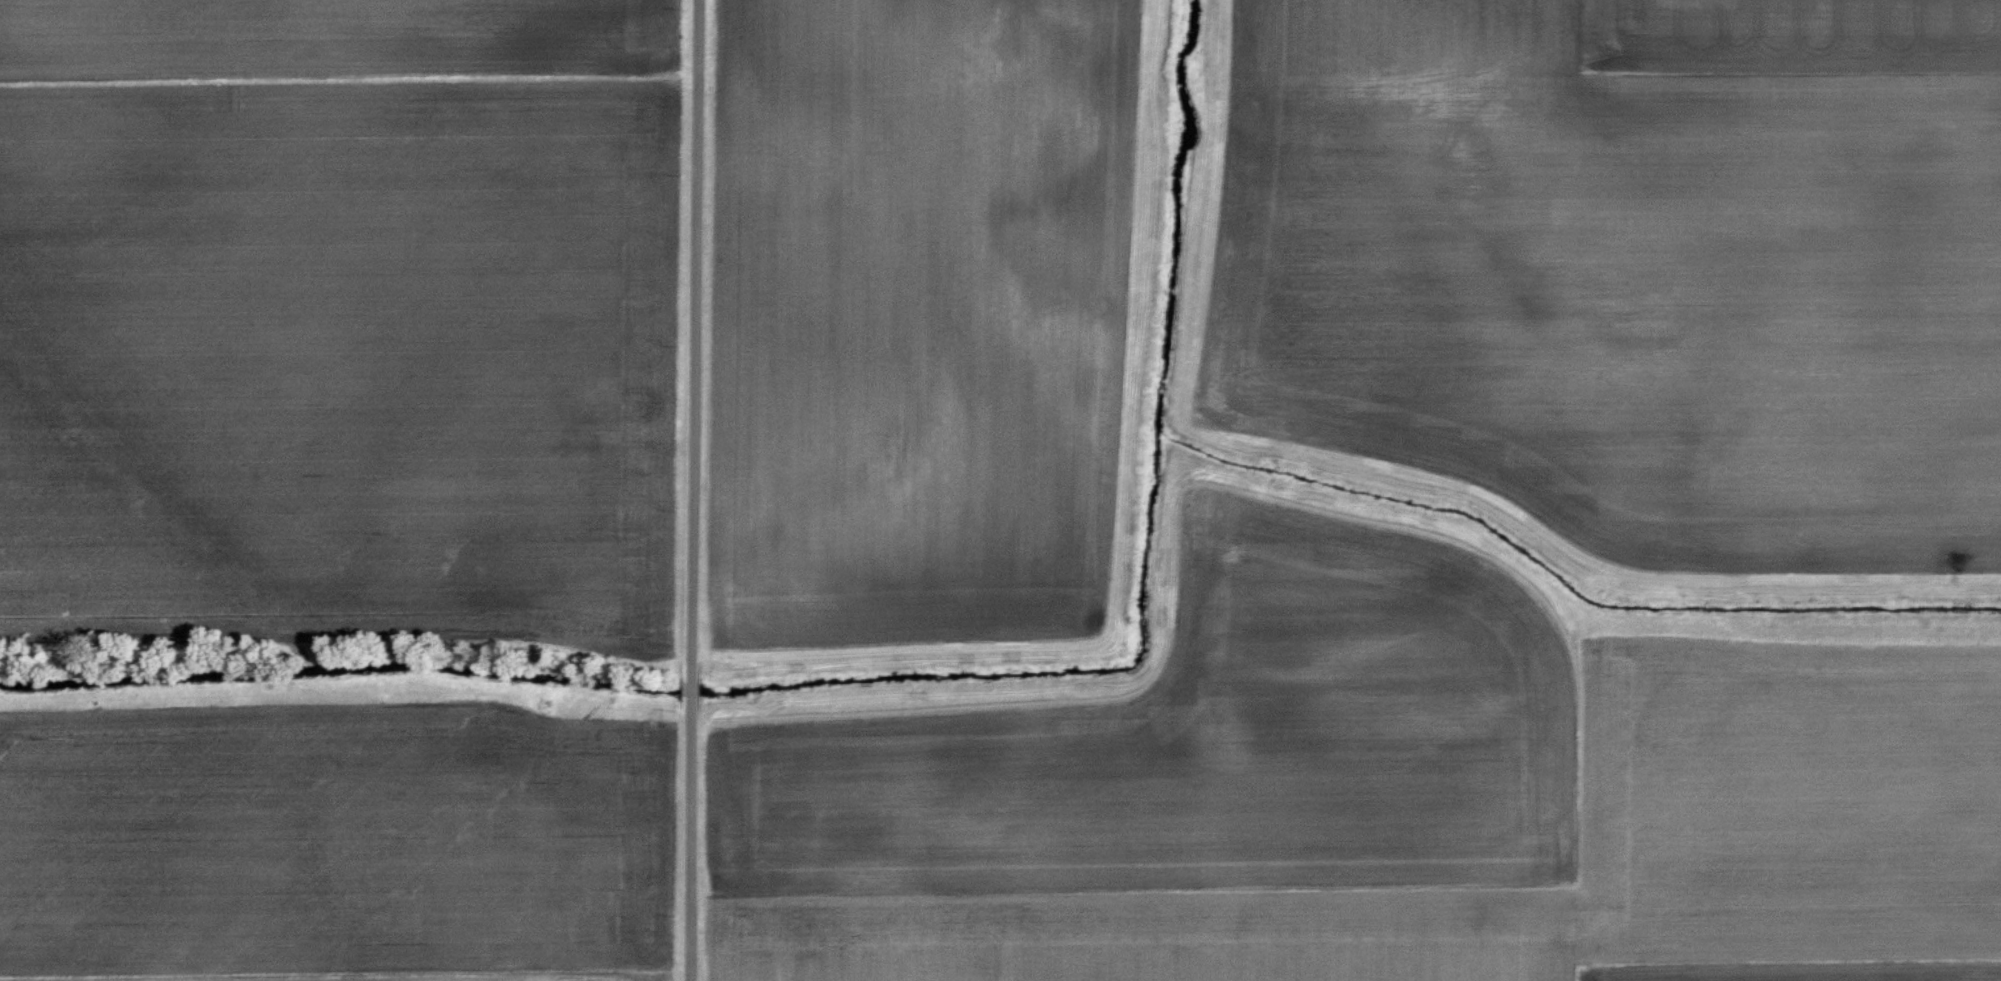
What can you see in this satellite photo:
road: (695, 490)

